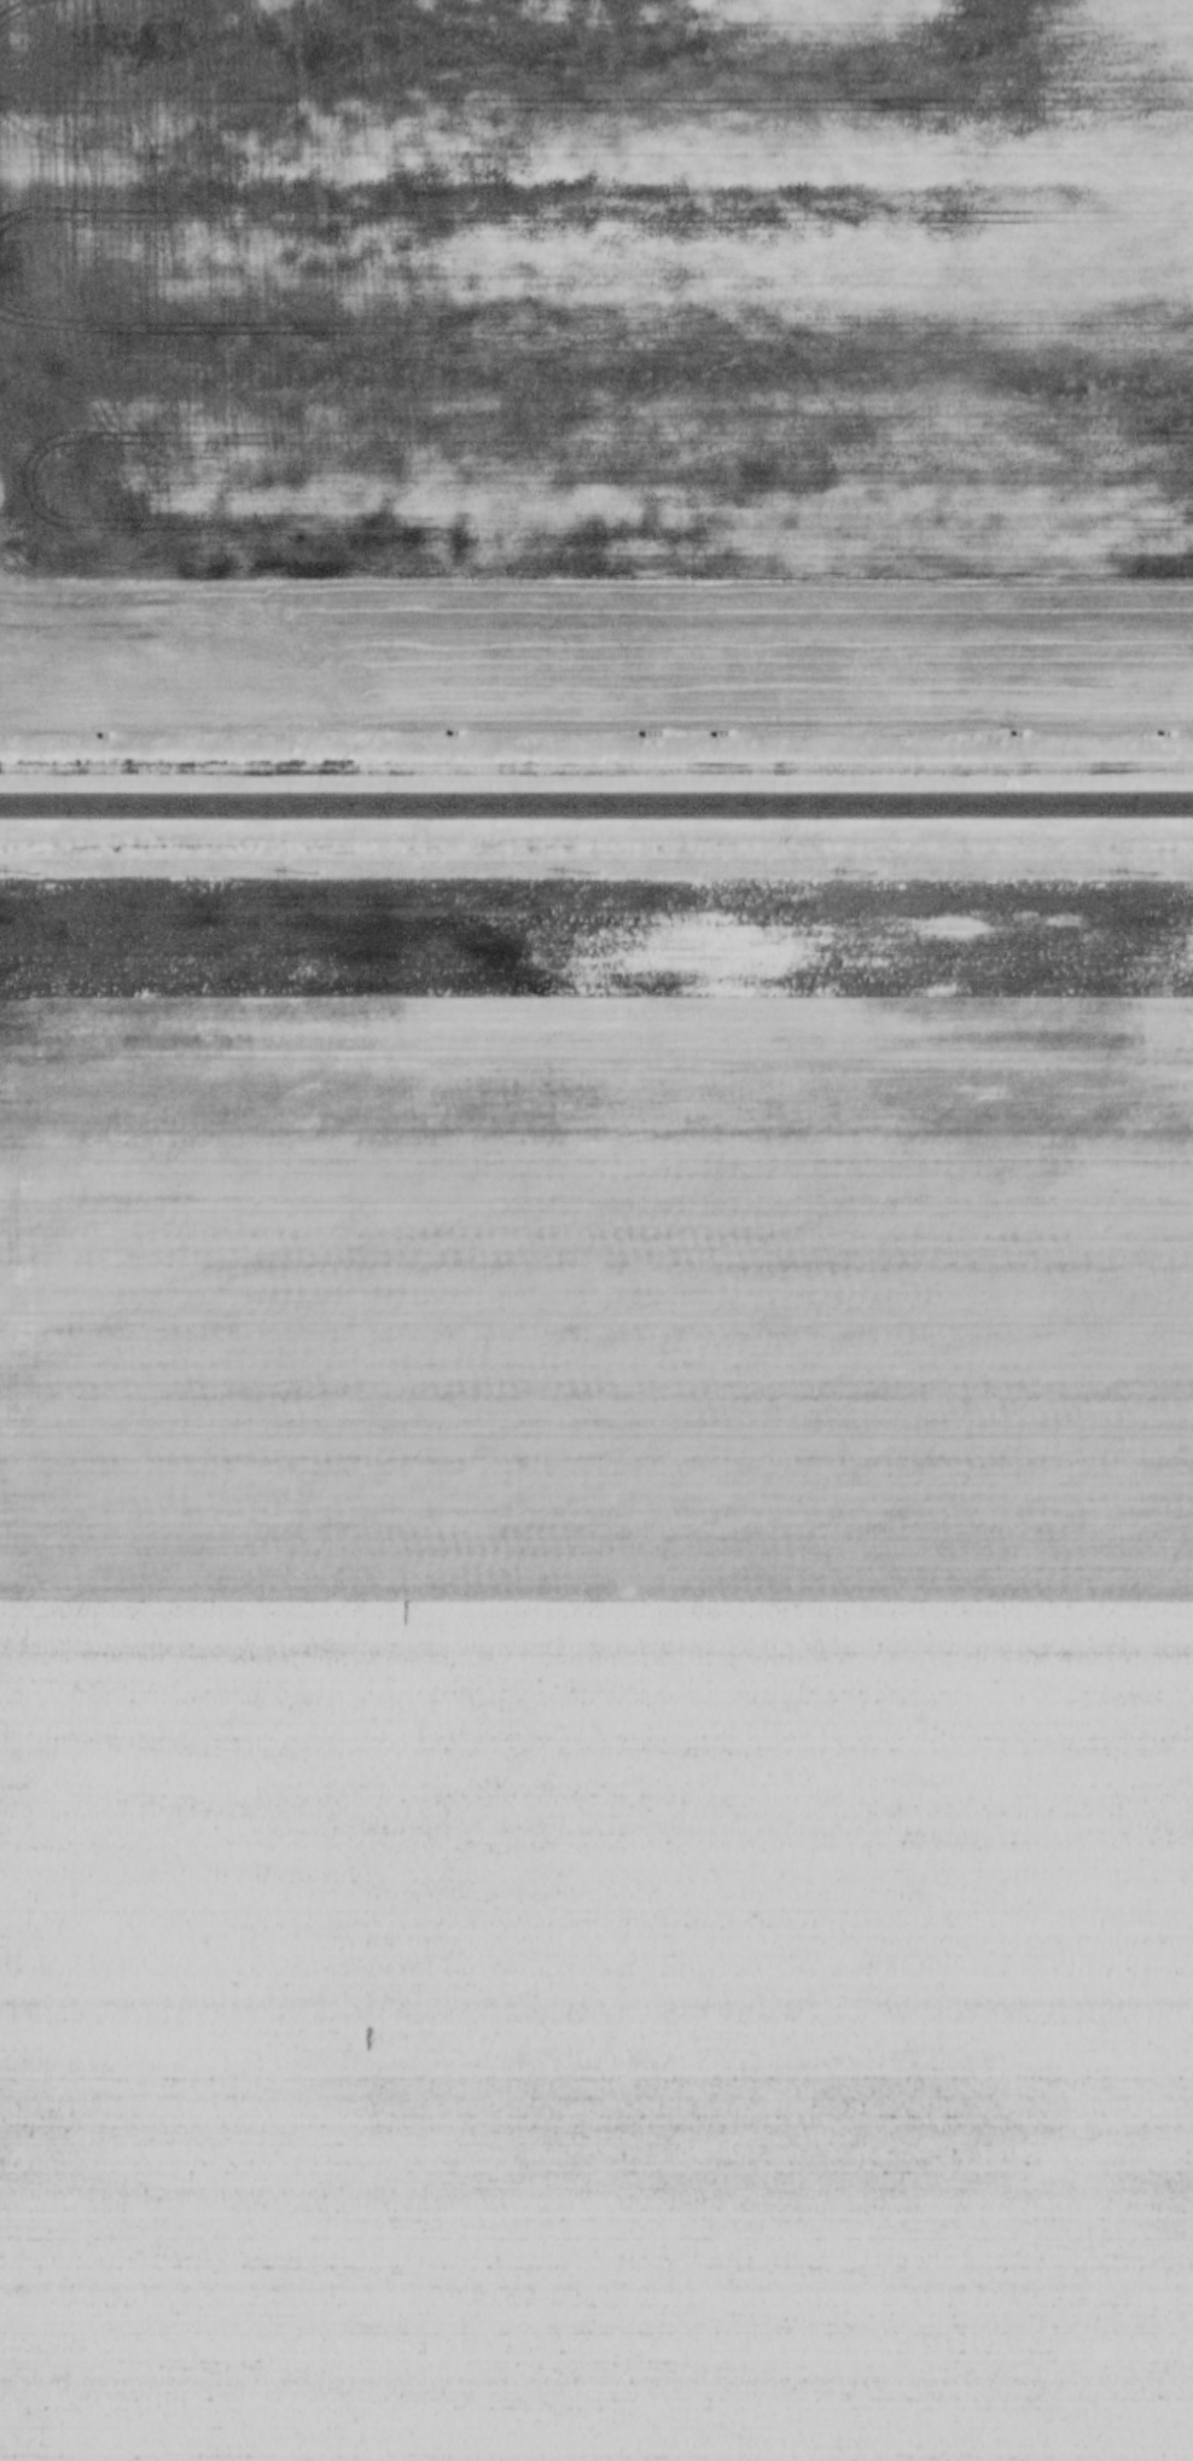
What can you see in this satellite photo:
road: (596, 806)

